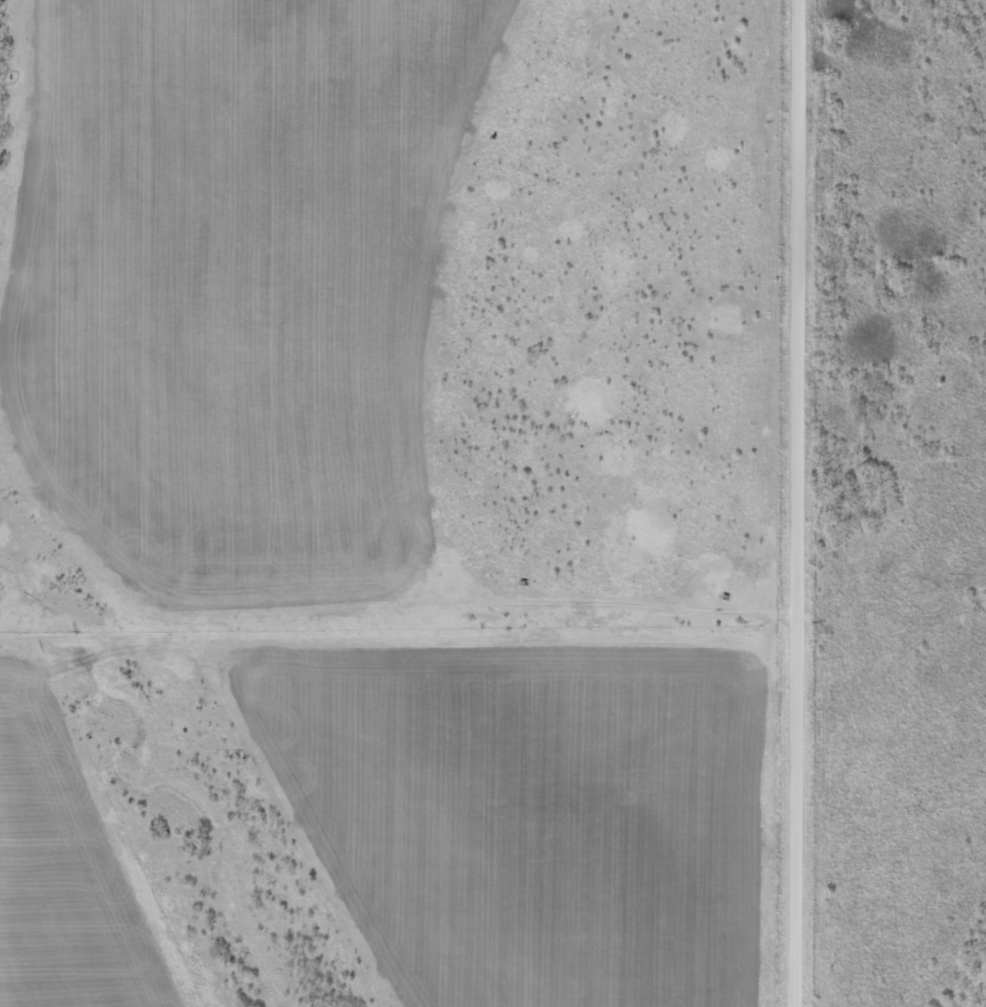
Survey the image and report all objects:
road: (800, 503)

